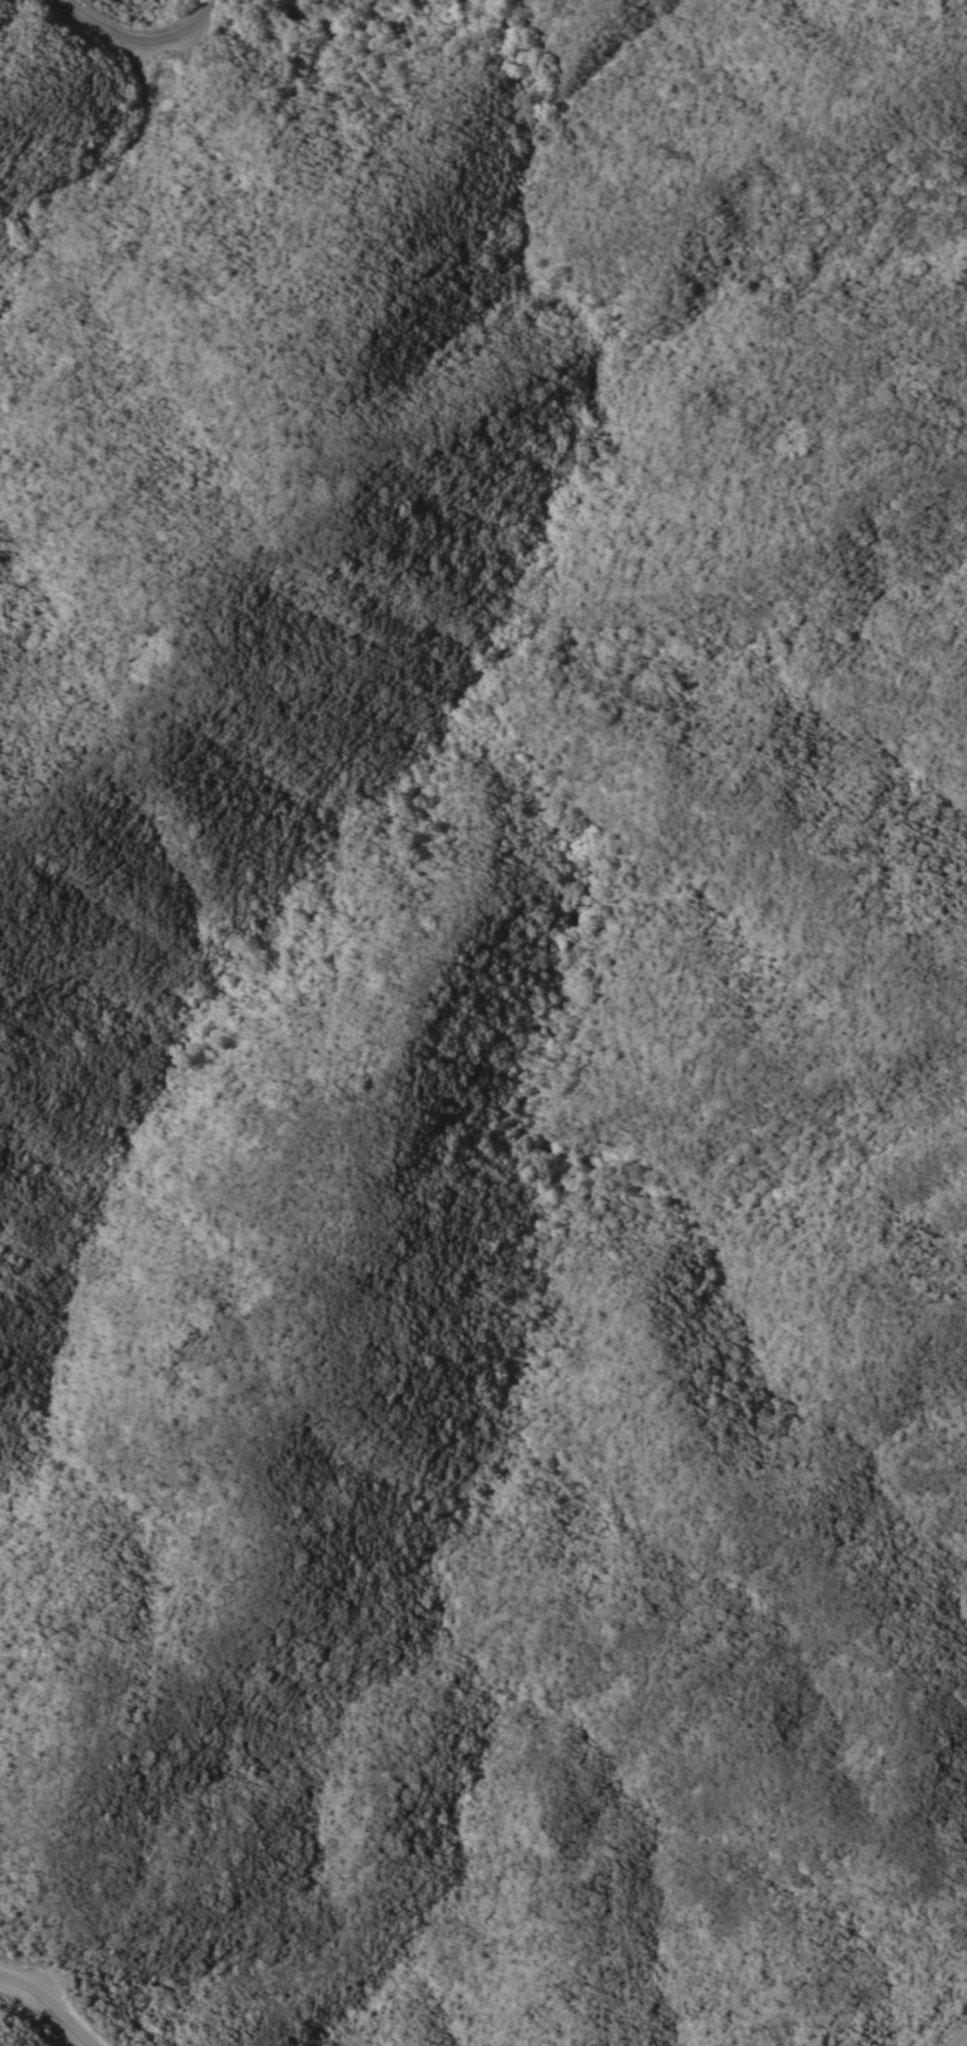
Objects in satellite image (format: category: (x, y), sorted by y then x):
road: (136, 41)
road: (50, 2003)
road: (957, 2037)

